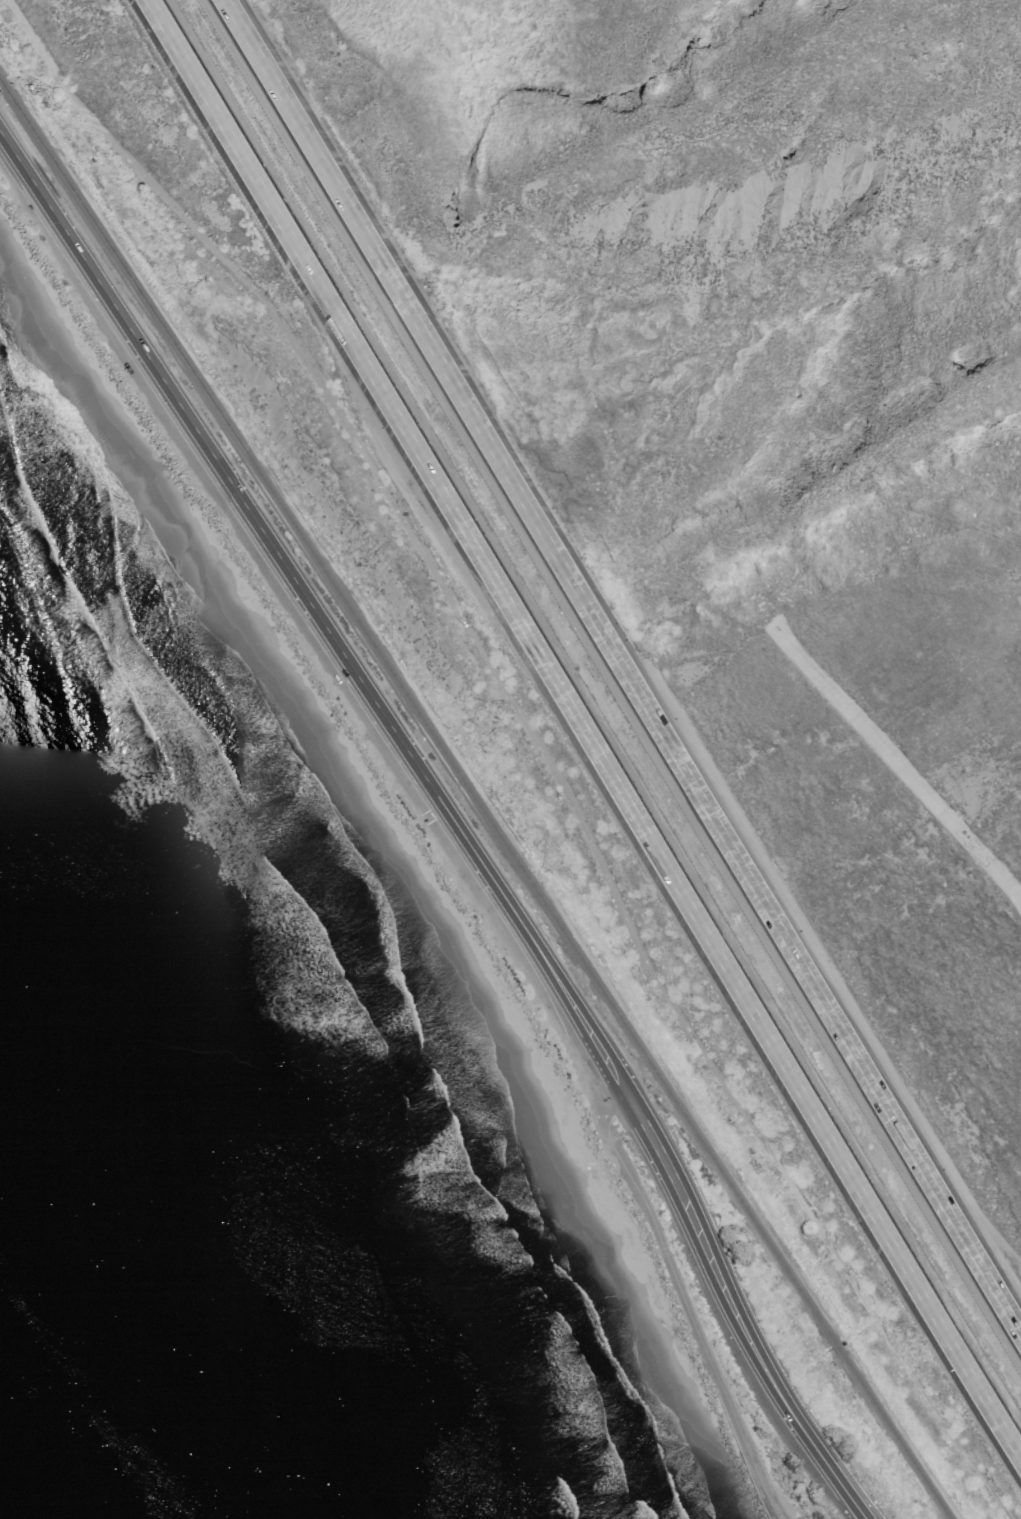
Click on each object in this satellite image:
road: (285, 324)
railway: (262, 480)
road: (622, 667)
road: (504, 692)
road: (583, 730)
road: (452, 814)
railway: (531, 881)
road: (694, 1041)
railway: (741, 1203)
road: (687, 1296)

